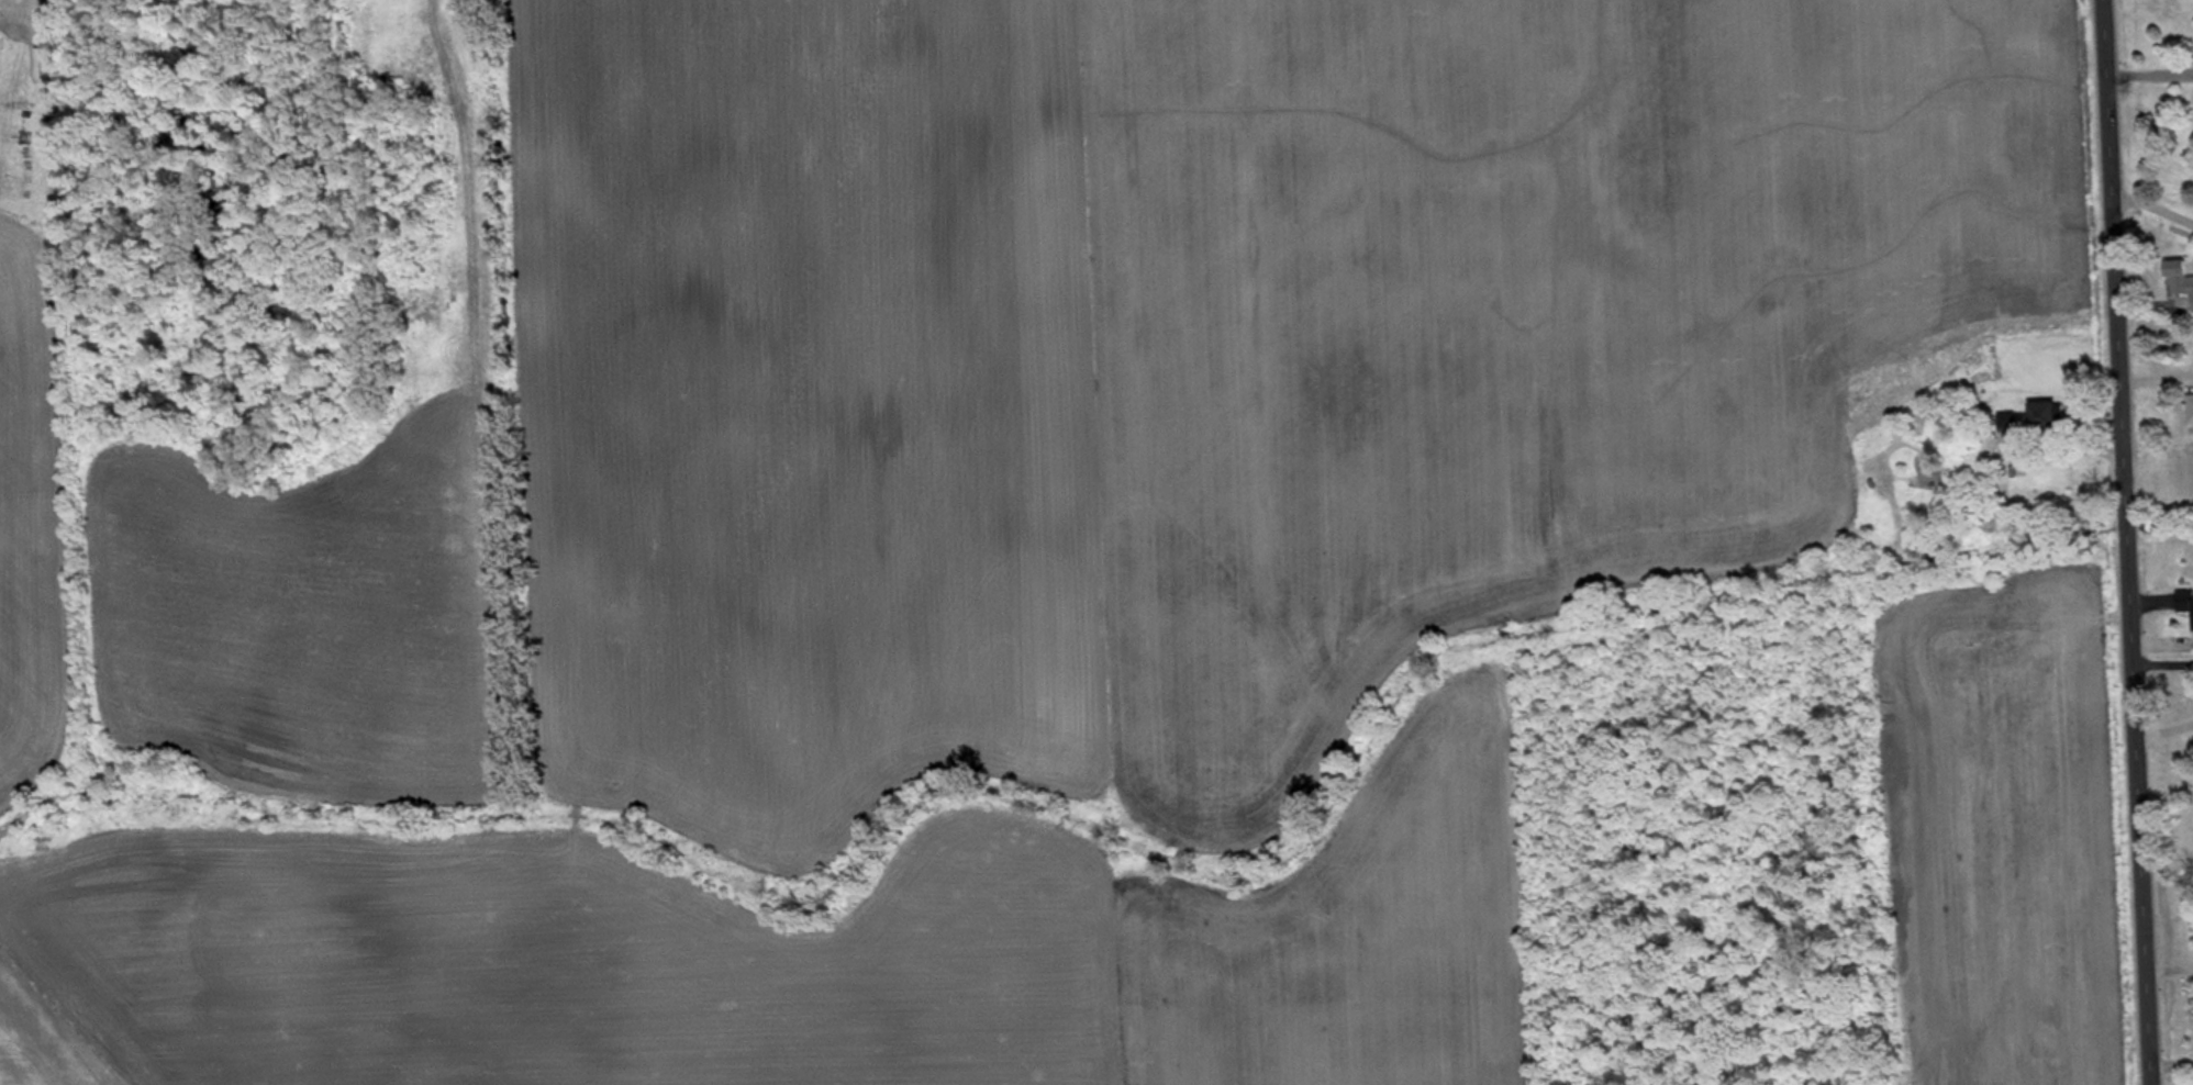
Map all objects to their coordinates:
building: (2182, 279)
building: (2192, 409)
building: (2049, 416)
road: (2119, 542)
building: (2186, 603)

